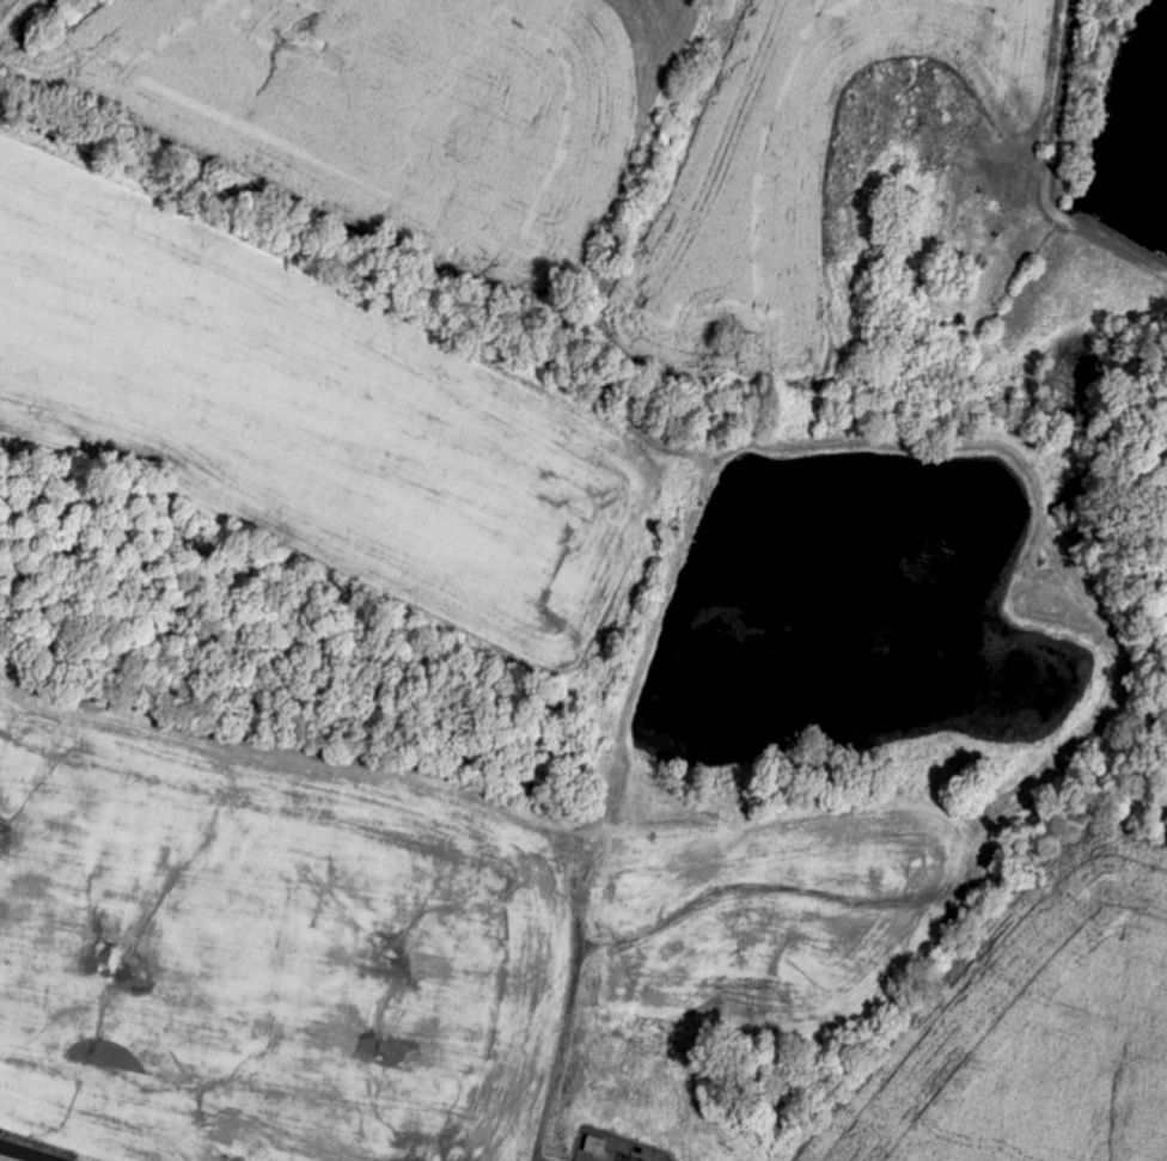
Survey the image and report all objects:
building: (599, 1145)
power substation: (615, 1149)
road: (20, 1154)

